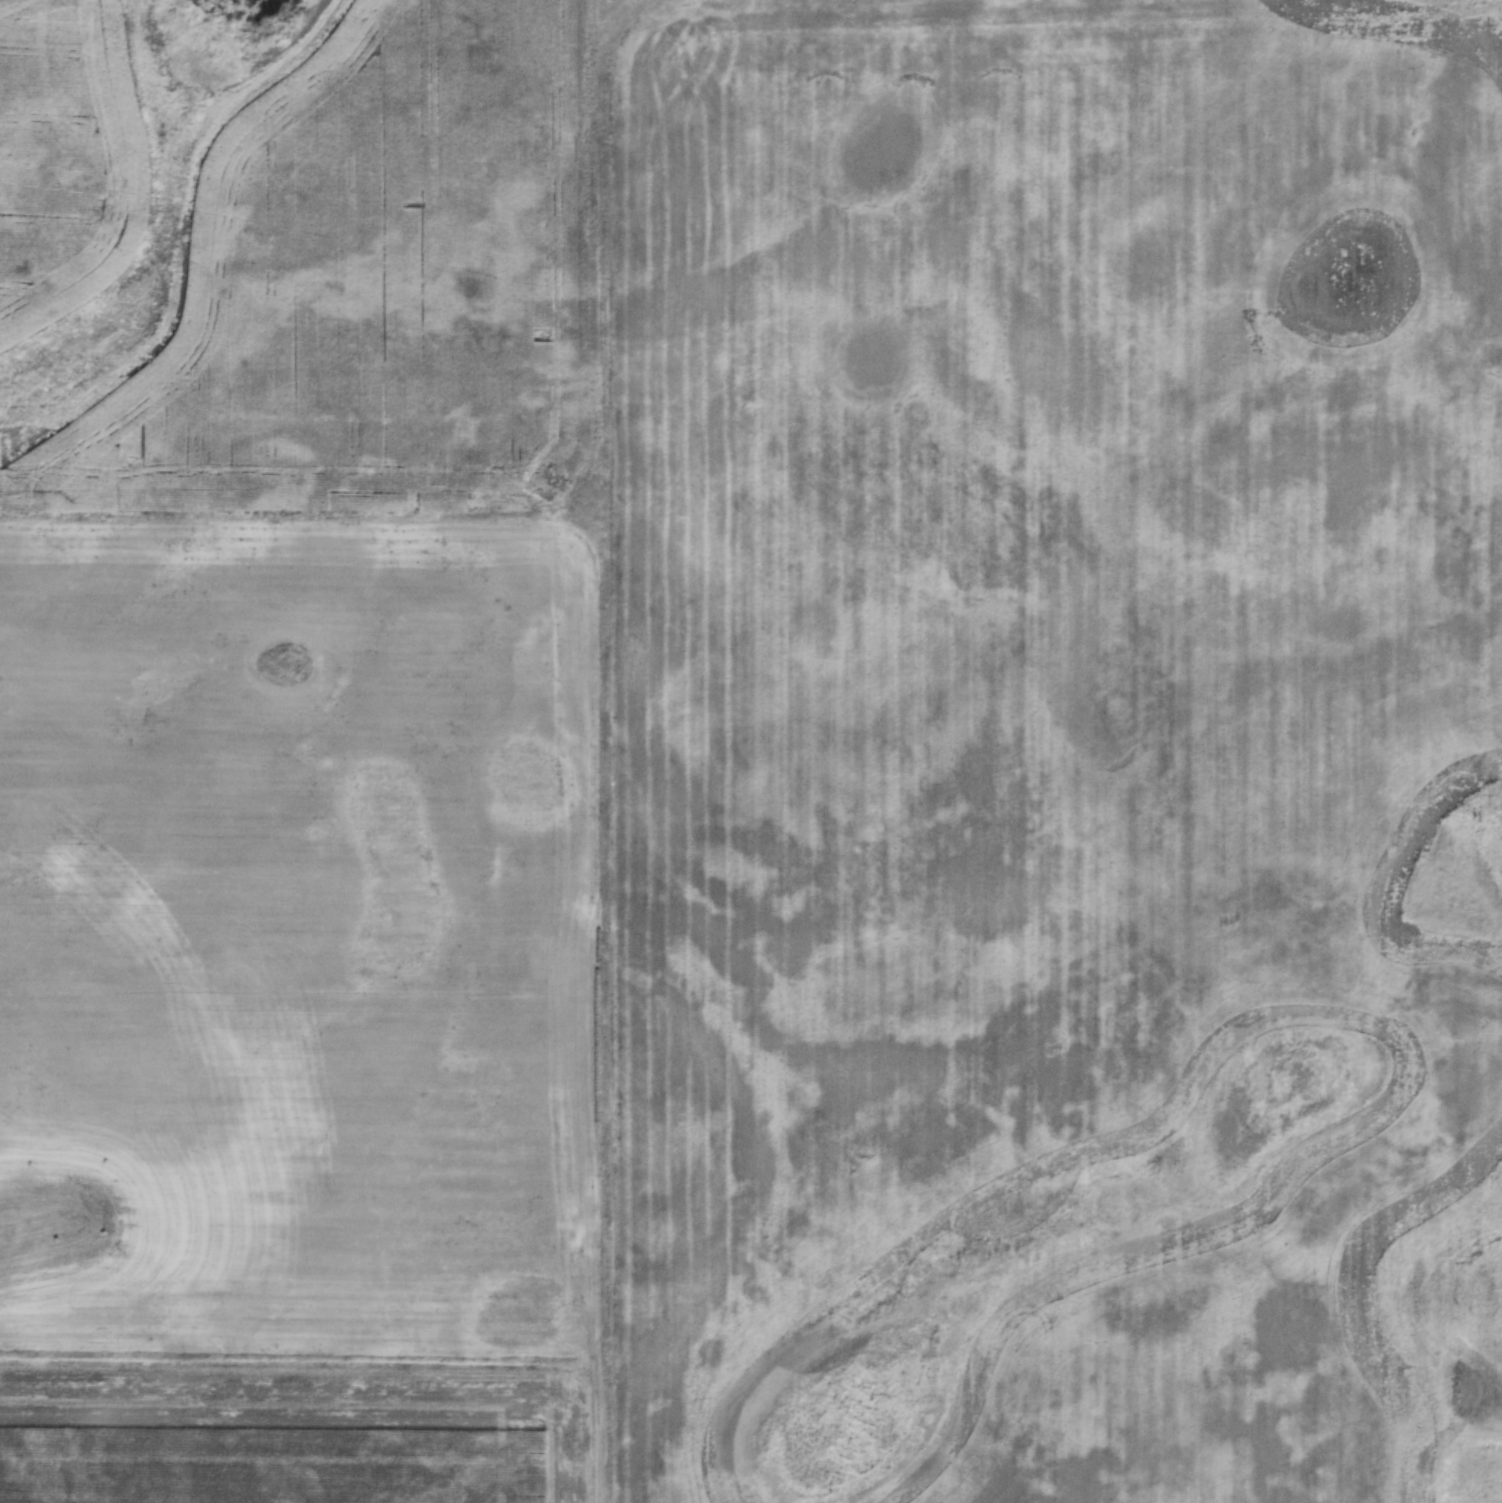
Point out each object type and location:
road: (600, 1021)

